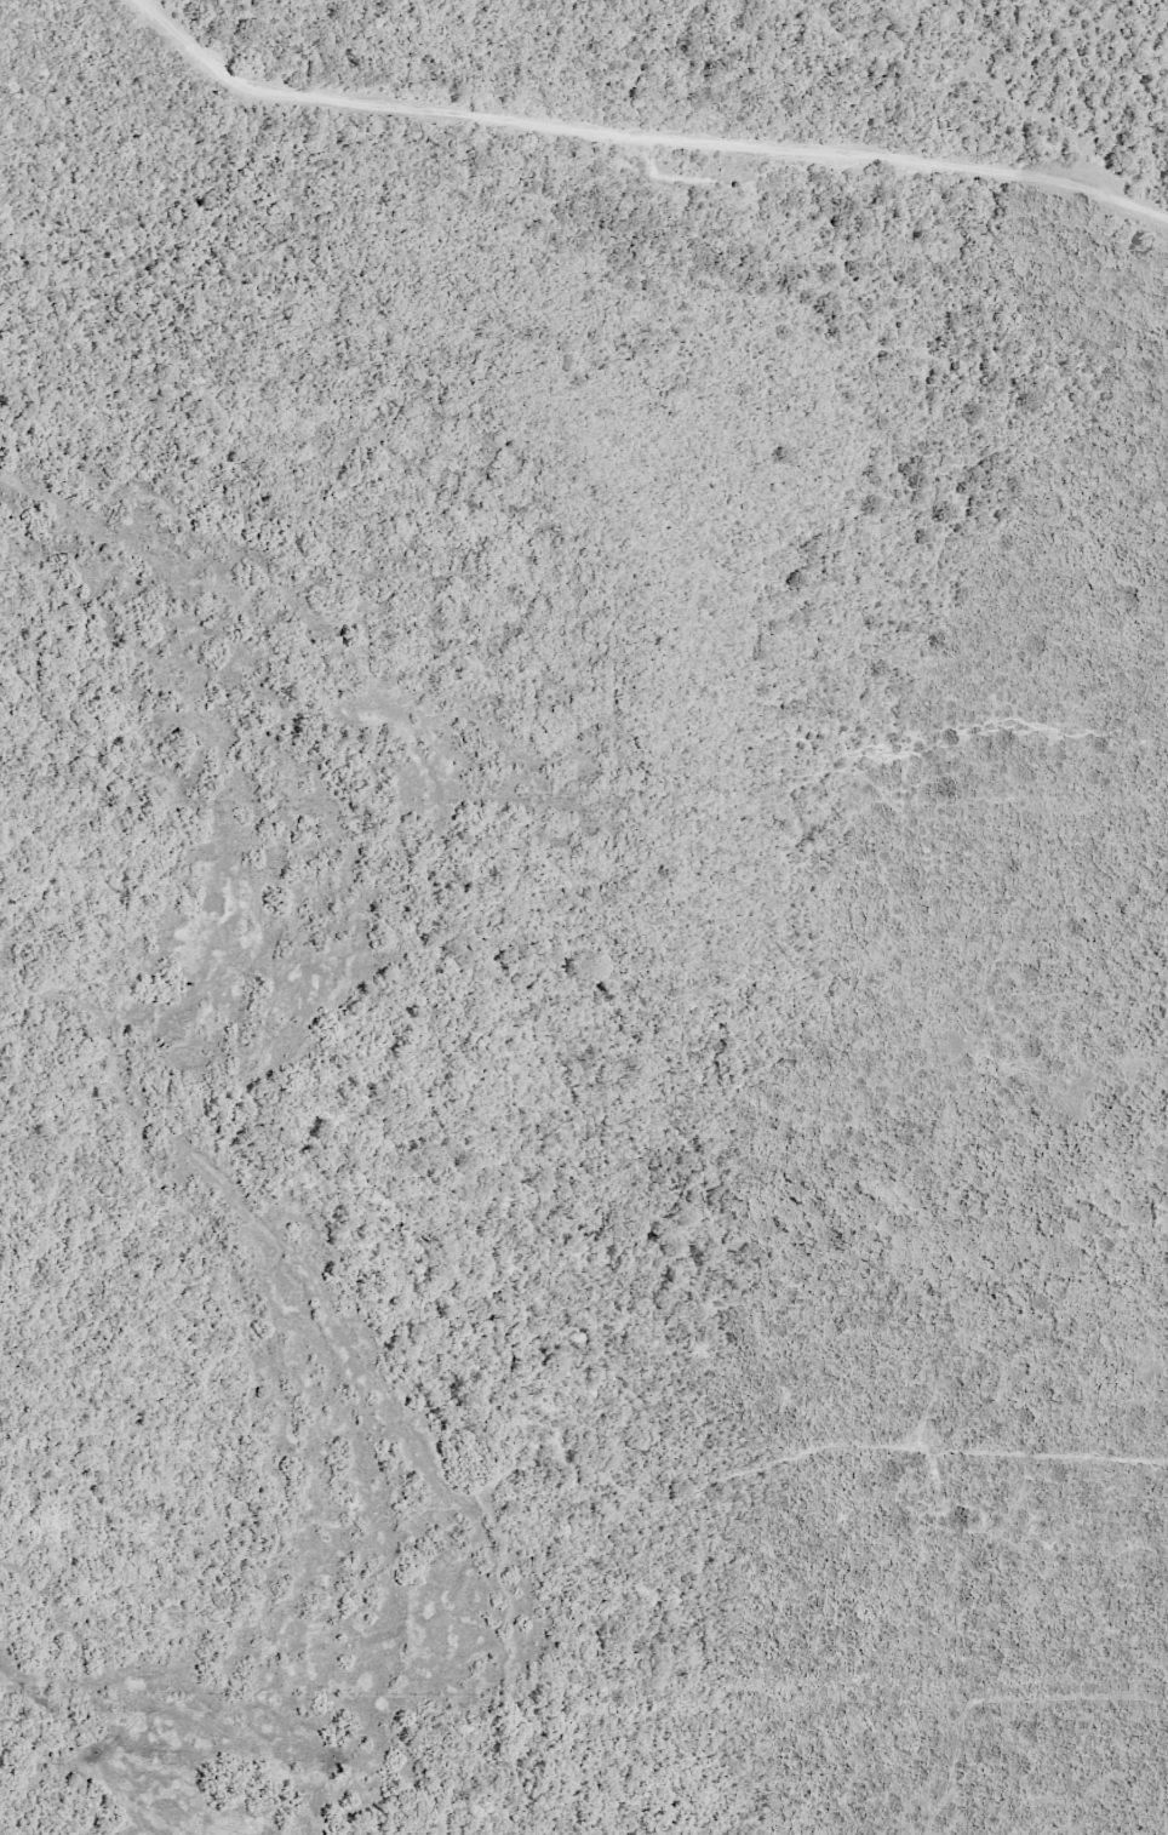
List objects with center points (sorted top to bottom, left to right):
road: (692, 64)
road: (1018, 72)
road: (652, 160)
road: (247, 1242)
road: (549, 1492)

